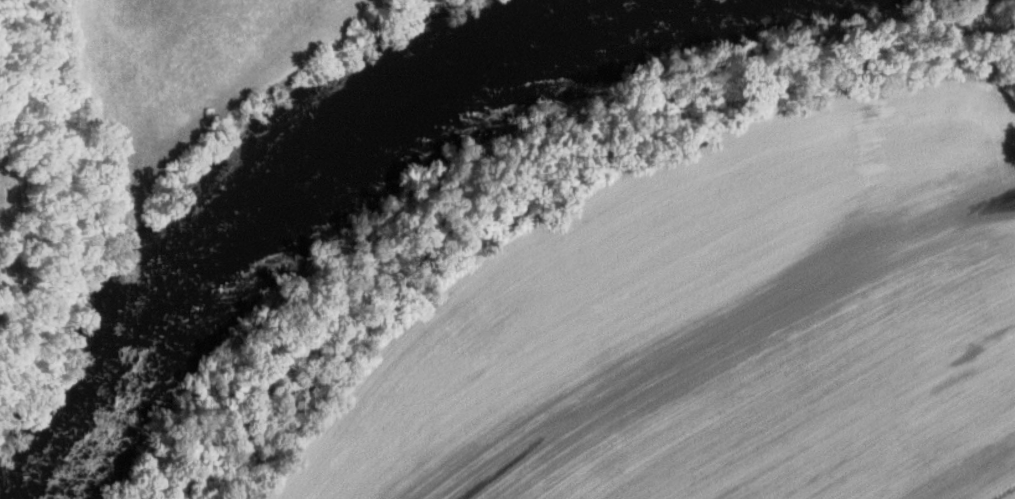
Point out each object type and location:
road: (1001, 85)
river: (286, 194)

